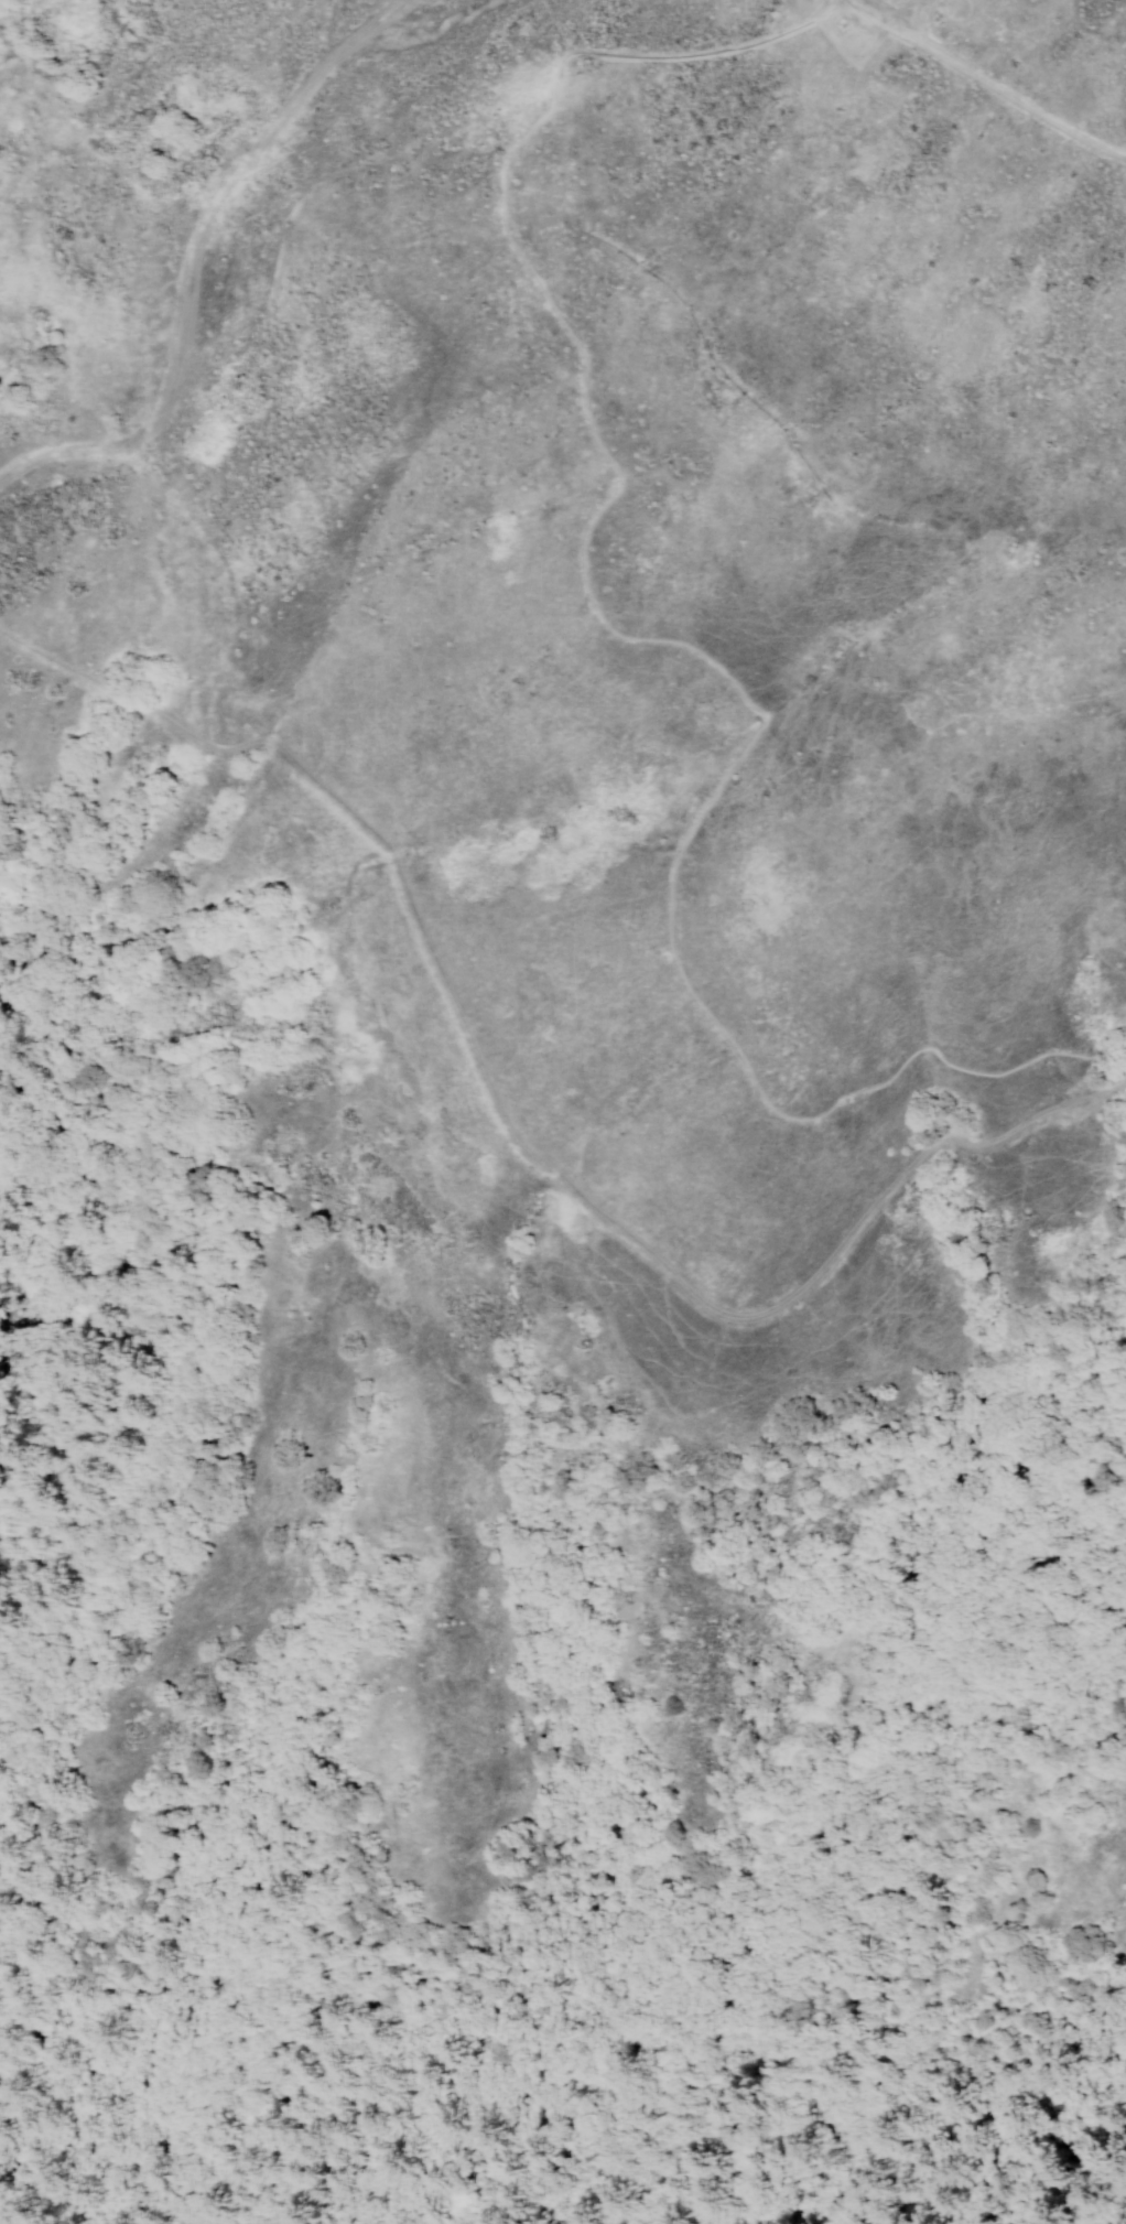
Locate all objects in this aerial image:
road: (840, 1)
road: (842, 1)
road: (981, 86)
road: (195, 259)
road: (656, 640)
road: (57, 665)
road: (434, 967)
road: (901, 1172)

